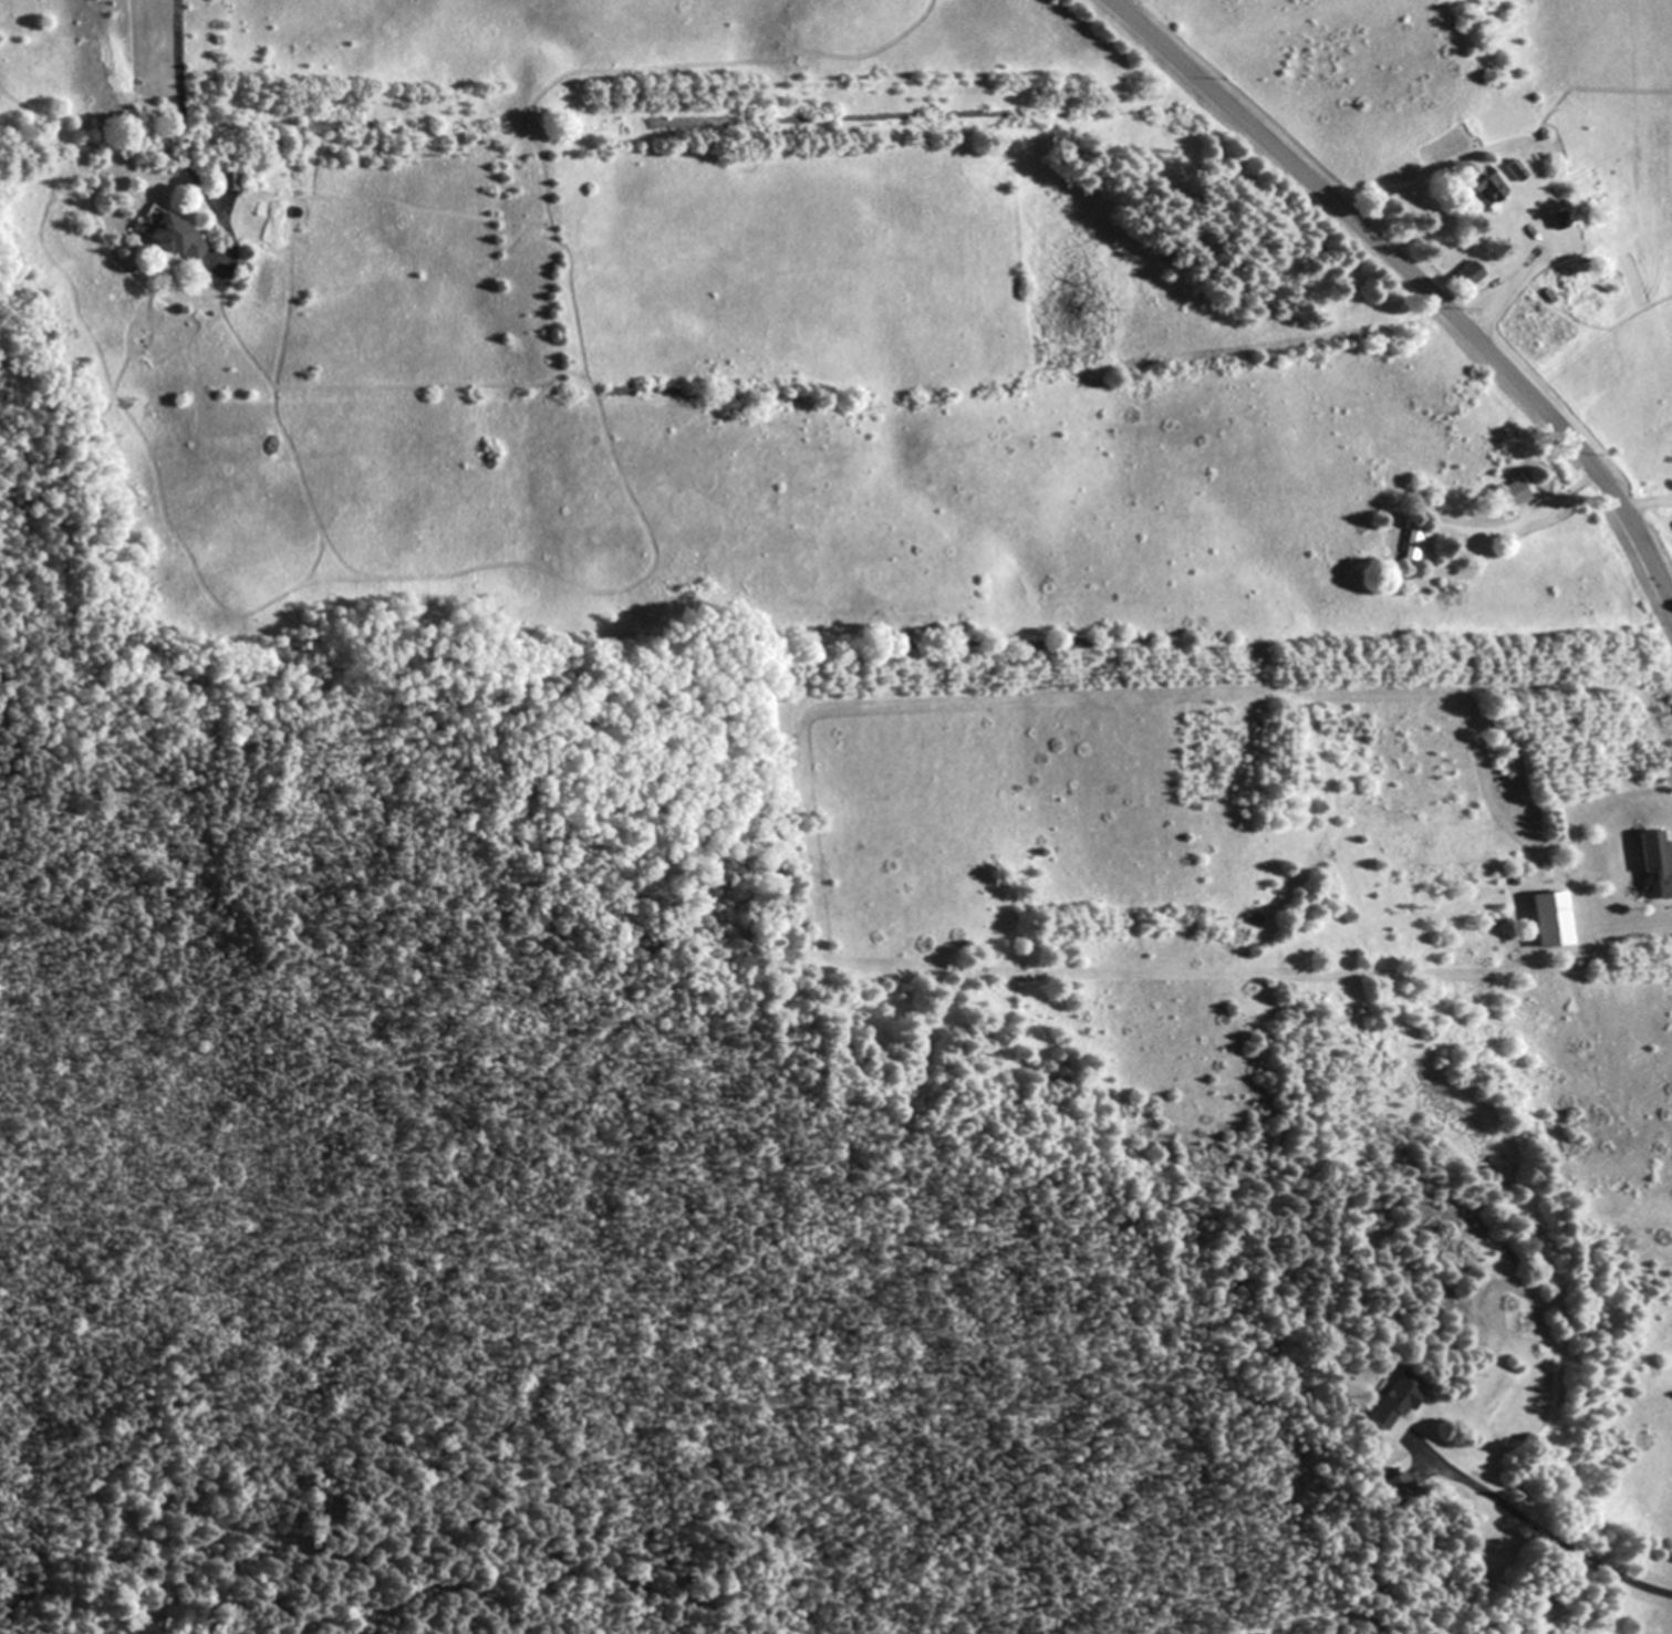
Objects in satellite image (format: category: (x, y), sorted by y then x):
road: (181, 116)
building: (1485, 186)
building: (172, 235)
building: (1466, 273)
road: (1417, 279)
building: (1551, 306)
building: (1516, 491)
building: (1657, 858)
building: (1557, 916)
building: (1393, 1401)
road: (1538, 1527)

